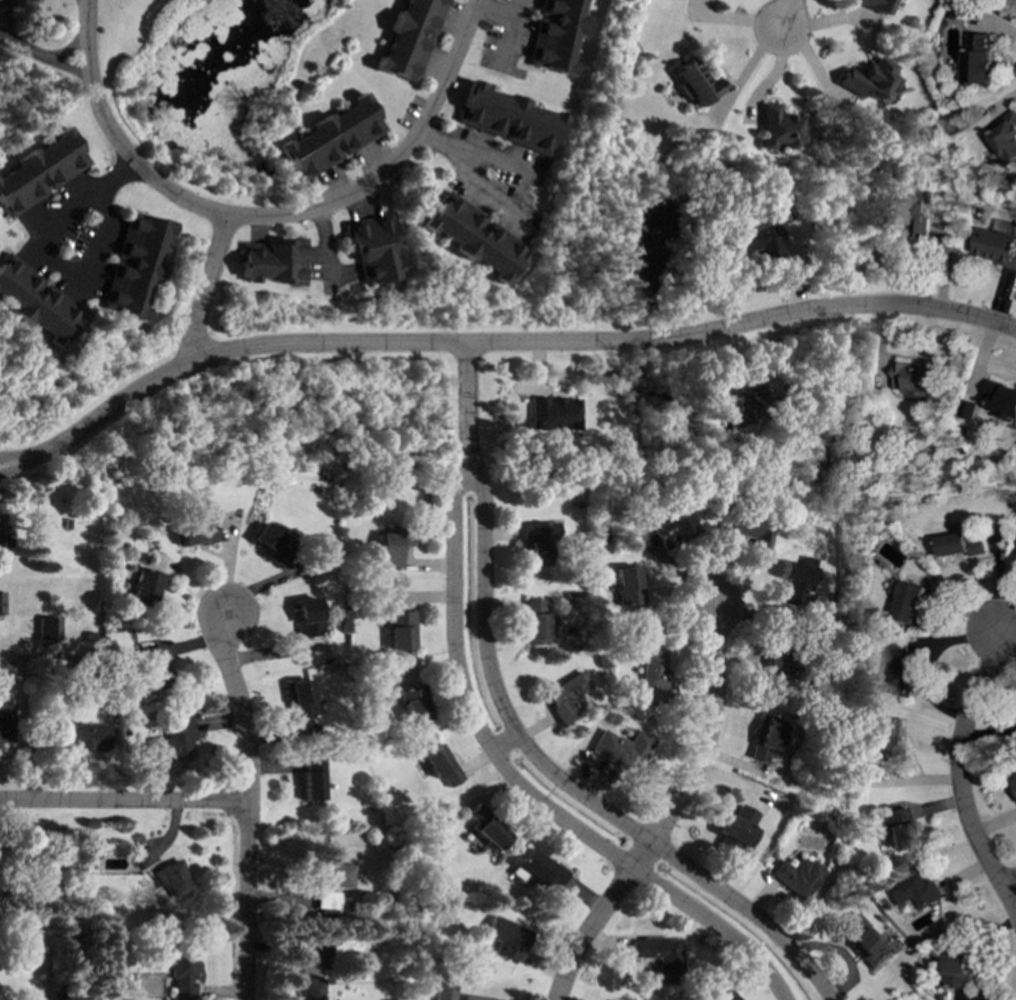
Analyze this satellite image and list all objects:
road: (3, 1)
road: (82, 2)
road: (85, 2)
building: (873, 4)
road: (785, 15)
road: (84, 21)
building: (554, 35)
building: (409, 38)
road: (23, 49)
road: (66, 50)
building: (978, 58)
road: (86, 60)
road: (69, 71)
road: (744, 71)
building: (868, 79)
building: (694, 83)
building: (507, 118)
building: (778, 129)
building: (330, 137)
building: (1005, 137)
road: (394, 163)
road: (138, 167)
building: (38, 170)
road: (521, 176)
building: (913, 214)
building: (473, 236)
building: (753, 241)
building: (996, 247)
building: (372, 248)
road: (38, 254)
building: (273, 260)
building: (133, 263)
road: (206, 288)
building: (35, 301)
road: (514, 344)
building: (915, 378)
road: (466, 391)
building: (1001, 399)
building: (739, 401)
building: (551, 413)
road: (17, 457)
road: (18, 467)
building: (671, 529)
building: (750, 529)
building: (0, 530)
building: (195, 532)
building: (535, 540)
building: (269, 541)
building: (960, 545)
building: (388, 547)
building: (794, 582)
building: (625, 585)
building: (144, 587)
building: (908, 602)
building: (0, 603)
building: (305, 616)
building: (378, 620)
building: (532, 620)
building: (46, 628)
building: (399, 629)
road: (1000, 637)
building: (148, 667)
building: (779, 667)
building: (650, 674)
building: (902, 674)
building: (562, 695)
building: (297, 700)
building: (410, 704)
building: (5, 722)
building: (171, 734)
building: (80, 736)
building: (764, 737)
building: (887, 738)
road: (504, 744)
building: (620, 749)
building: (437, 764)
road: (553, 775)
road: (510, 776)
road: (957, 777)
building: (1014, 784)
building: (309, 785)
road: (123, 801)
road: (247, 805)
road: (670, 811)
building: (484, 827)
building: (895, 827)
building: (735, 829)
building: (144, 855)
building: (535, 868)
building: (796, 875)
building: (172, 879)
road: (1008, 883)
building: (333, 884)
building: (915, 891)
building: (506, 937)
building: (863, 941)
building: (658, 955)
building: (957, 968)
building: (310, 969)
building: (182, 973)
building: (310, 988)
building: (445, 991)
building: (722, 996)
building: (477, 997)

